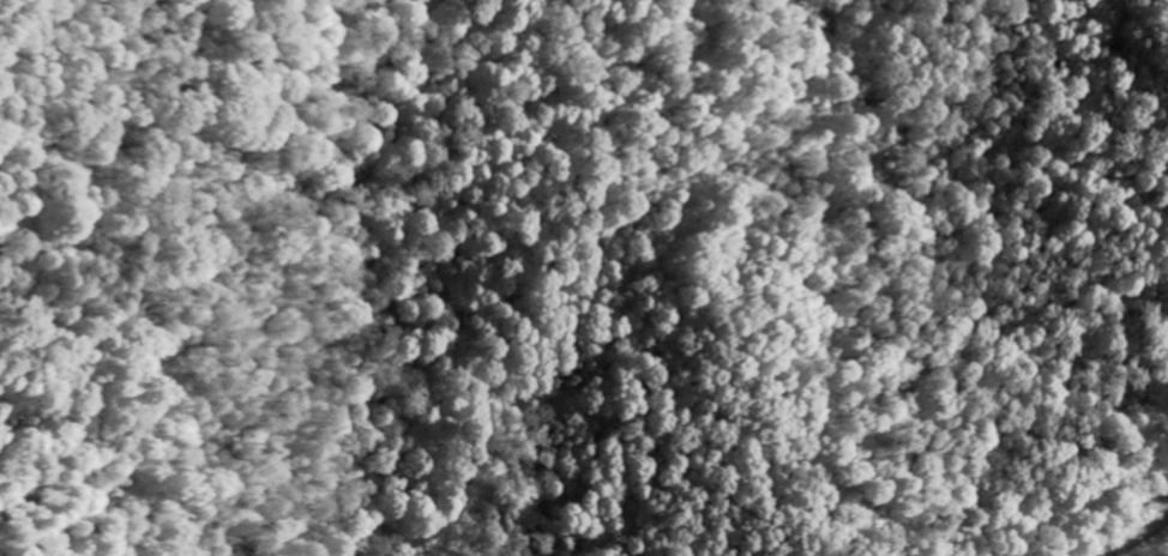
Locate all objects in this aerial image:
road: (1142, 538)

